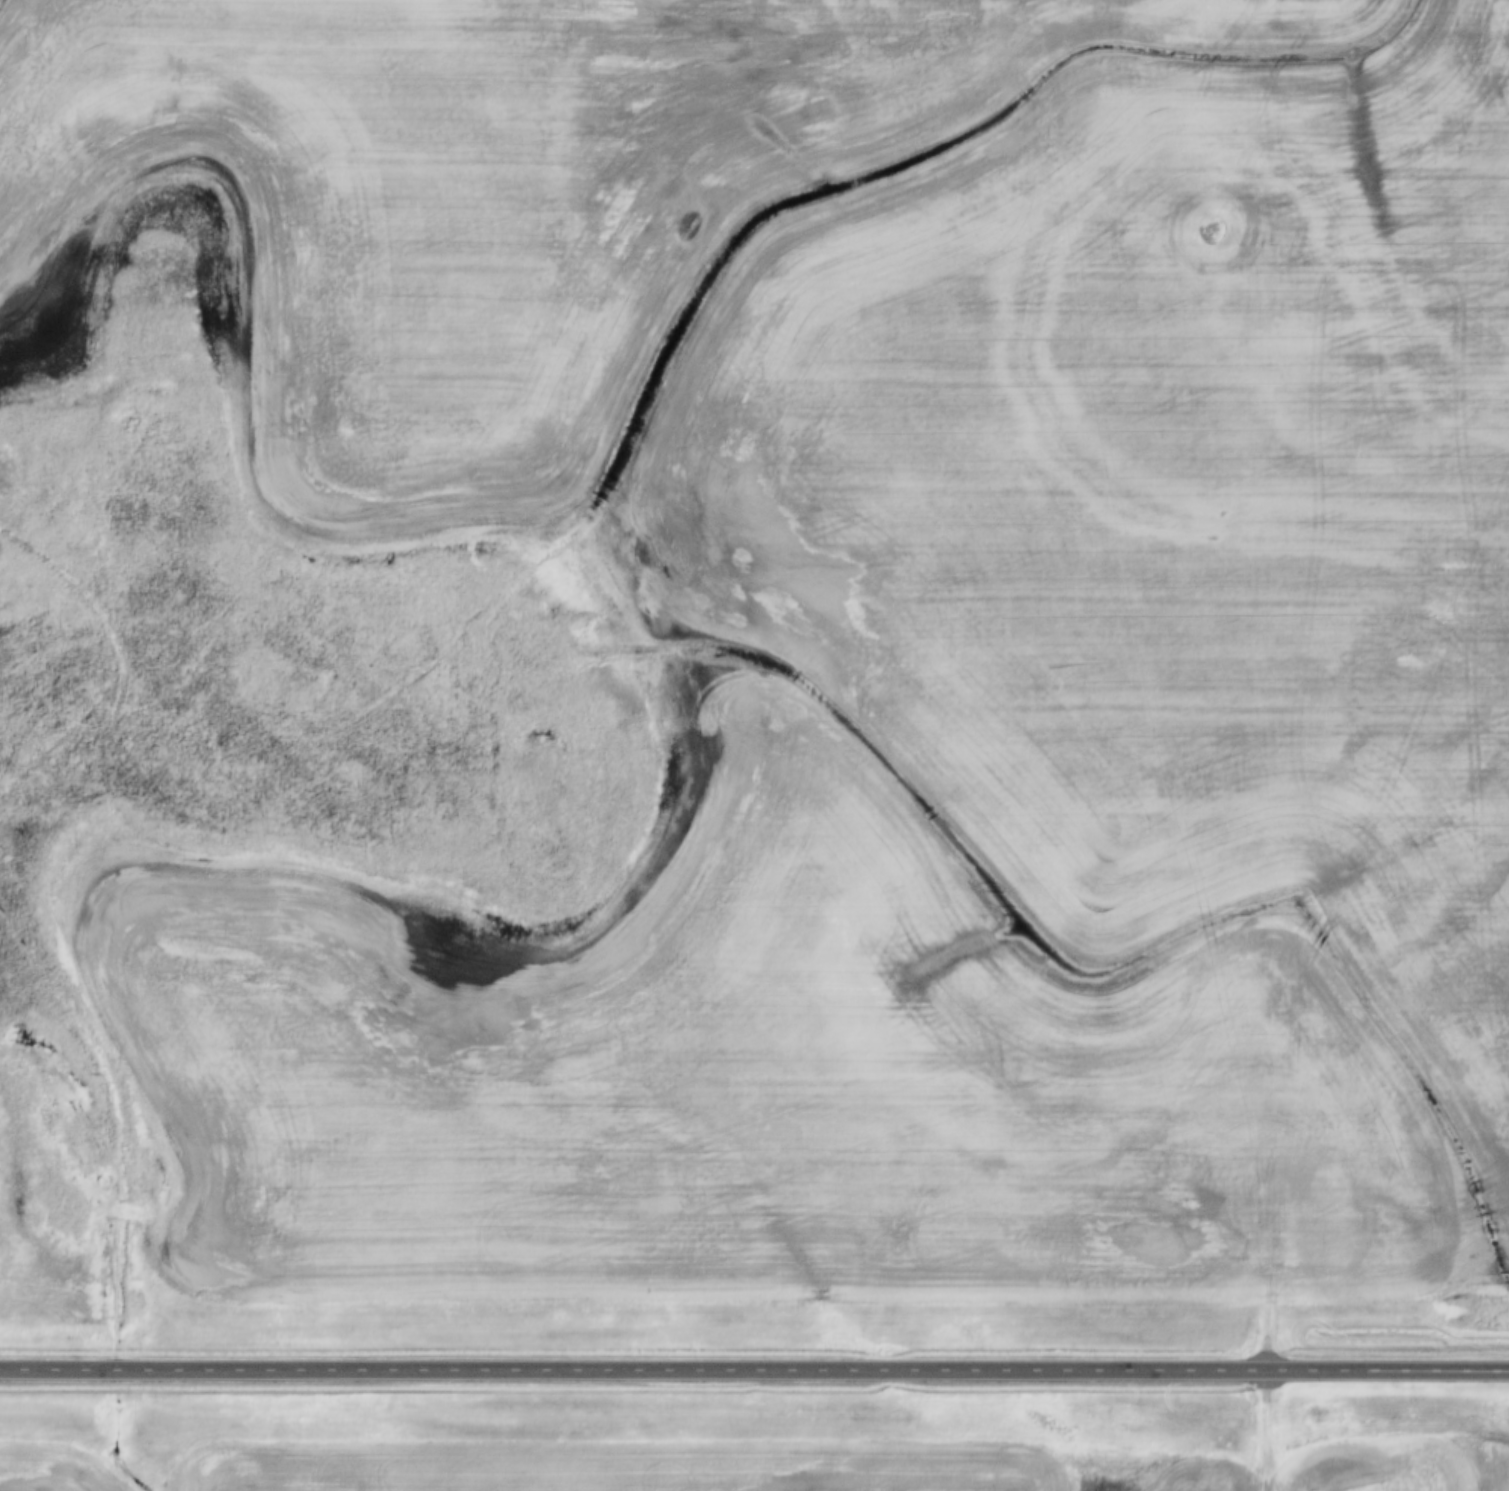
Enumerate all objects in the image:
road: (754, 1367)

